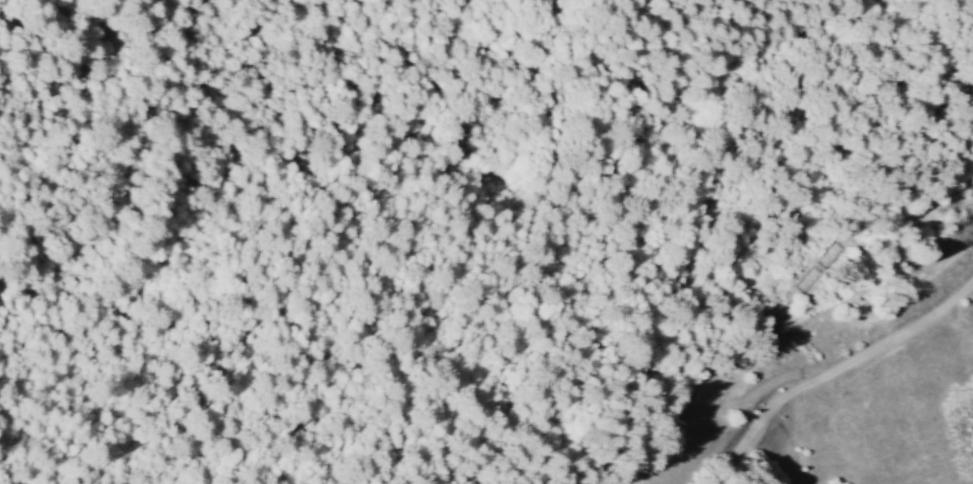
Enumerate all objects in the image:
road: (956, 345)
road: (835, 376)

